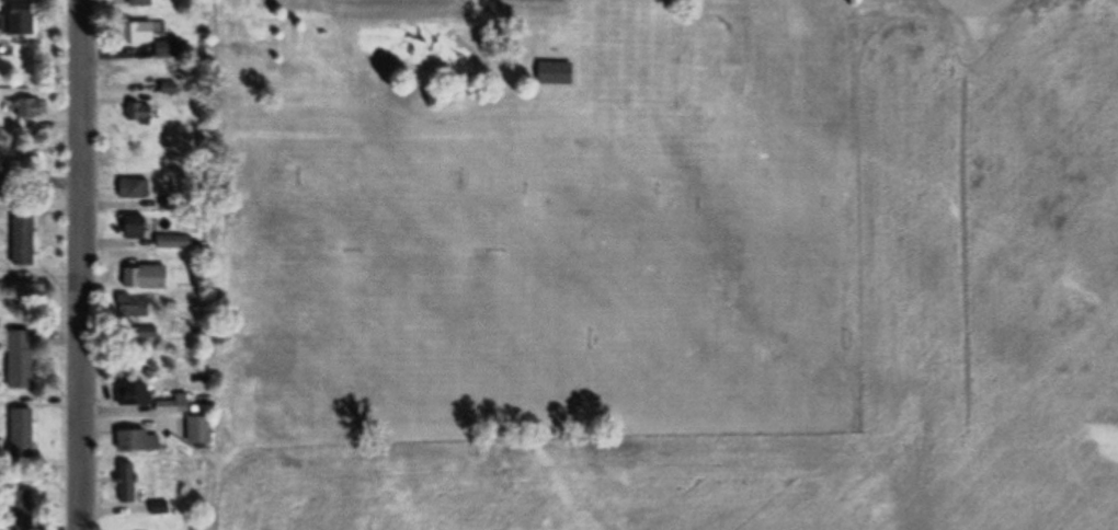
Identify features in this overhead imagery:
building: (233, 1)
building: (139, 3)
building: (15, 18)
building: (132, 33)
building: (162, 50)
building: (552, 73)
building: (24, 108)
building: (135, 114)
building: (27, 168)
building: (129, 189)
building: (132, 229)
building: (19, 242)
building: (171, 244)
road: (81, 265)
building: (141, 279)
building: (132, 310)
building: (16, 360)
building: (126, 396)
building: (195, 431)
building: (19, 435)
building: (135, 442)
building: (125, 484)
crop: (671, 485)
building: (16, 510)

